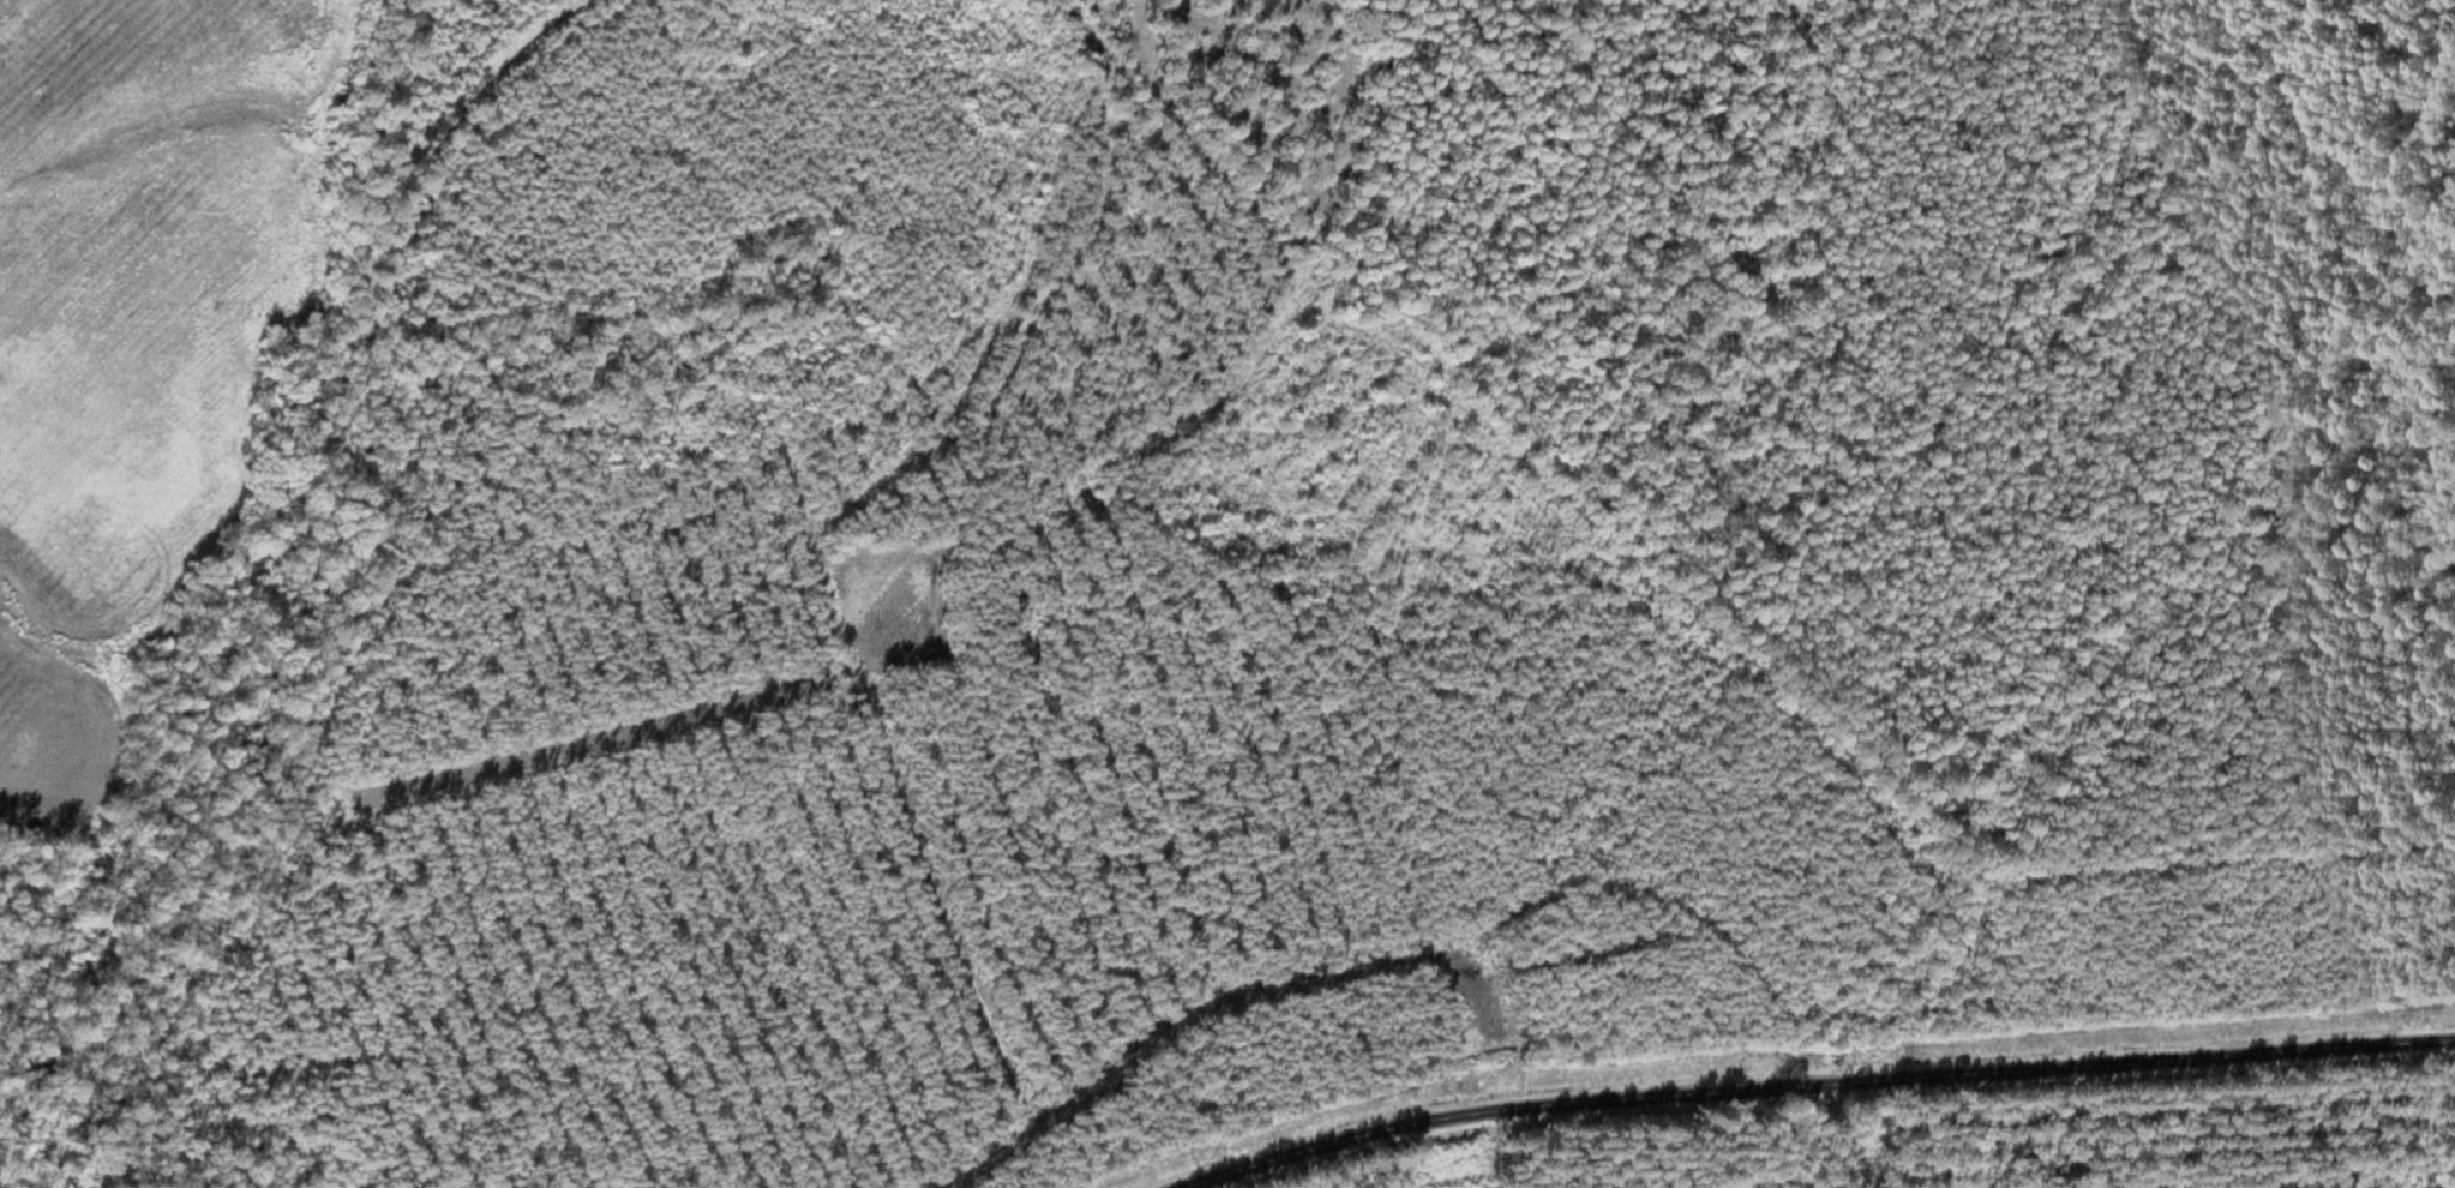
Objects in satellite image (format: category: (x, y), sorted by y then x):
crop: (134, 330)
road: (1796, 1110)

